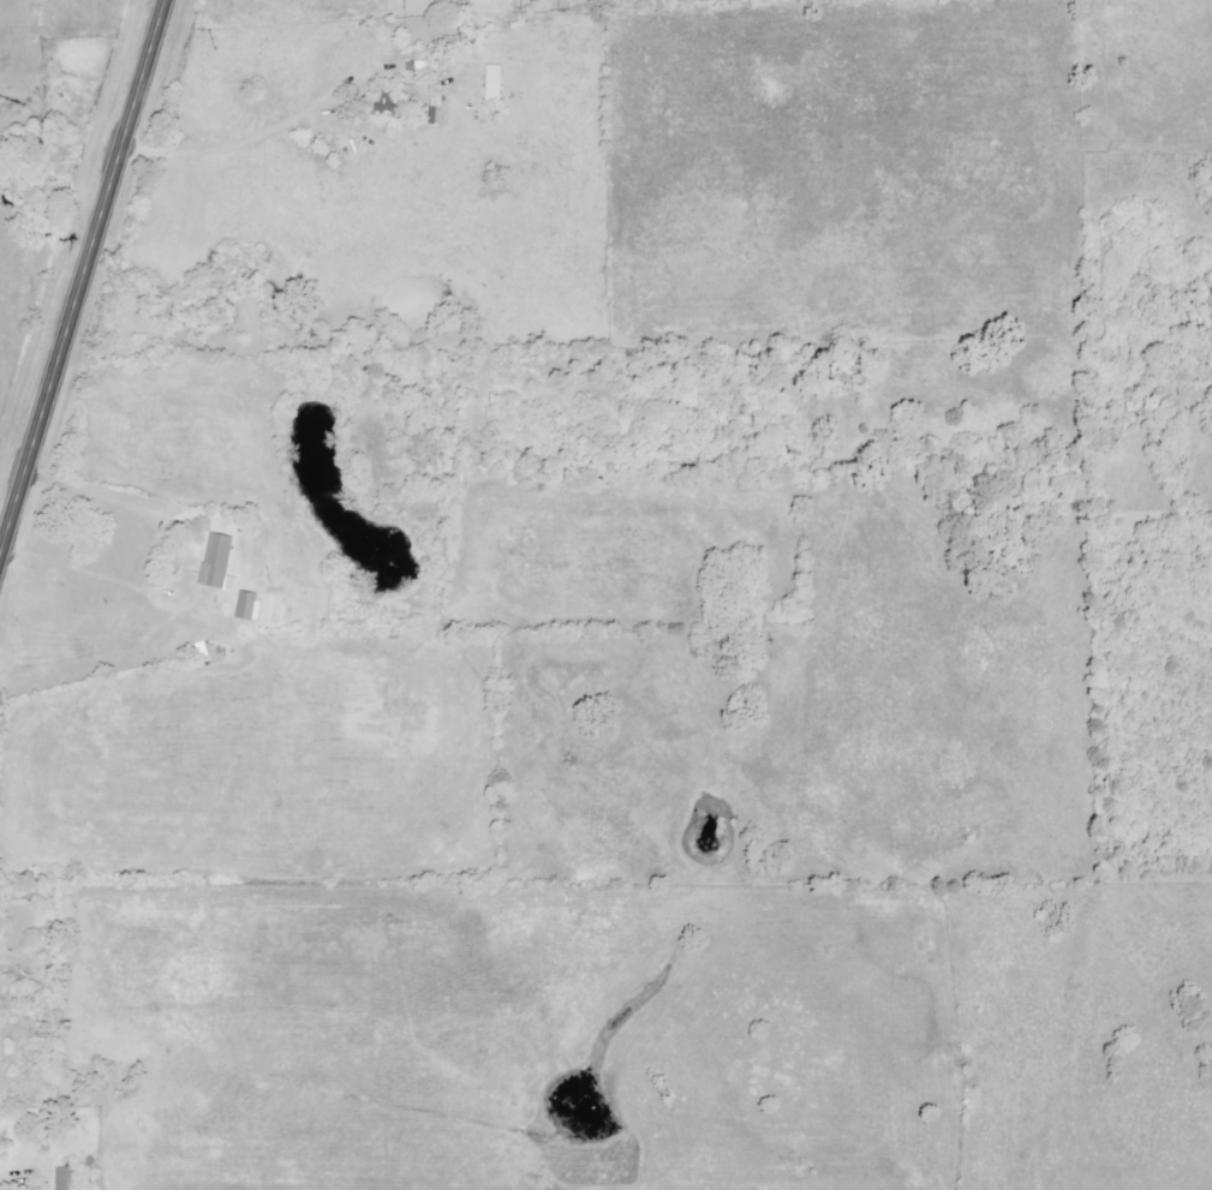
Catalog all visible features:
power tower: (209, 44)
building: (490, 83)
building: (386, 103)
road: (80, 276)
building: (215, 563)
building: (246, 605)
building: (18, 925)
building: (64, 1178)

